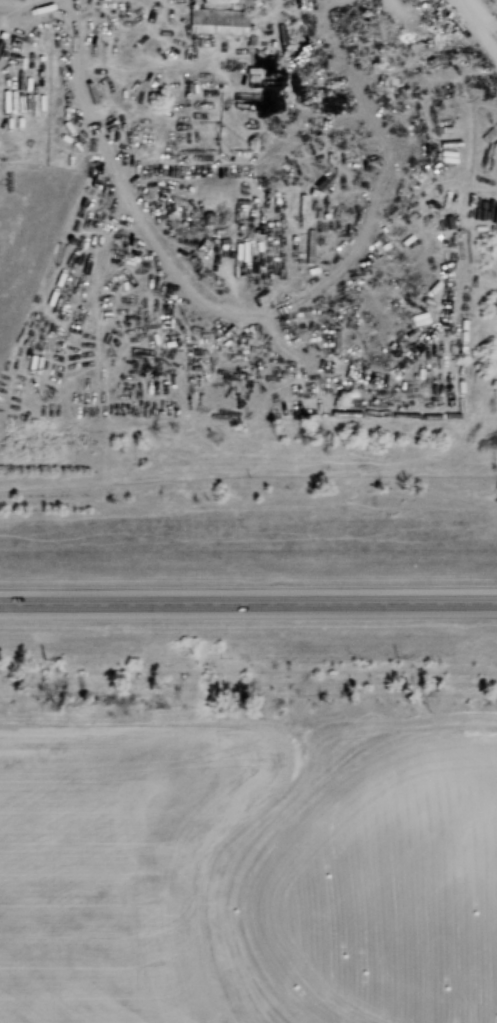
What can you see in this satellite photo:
road: (488, 13)
building: (218, 19)
road: (248, 601)

